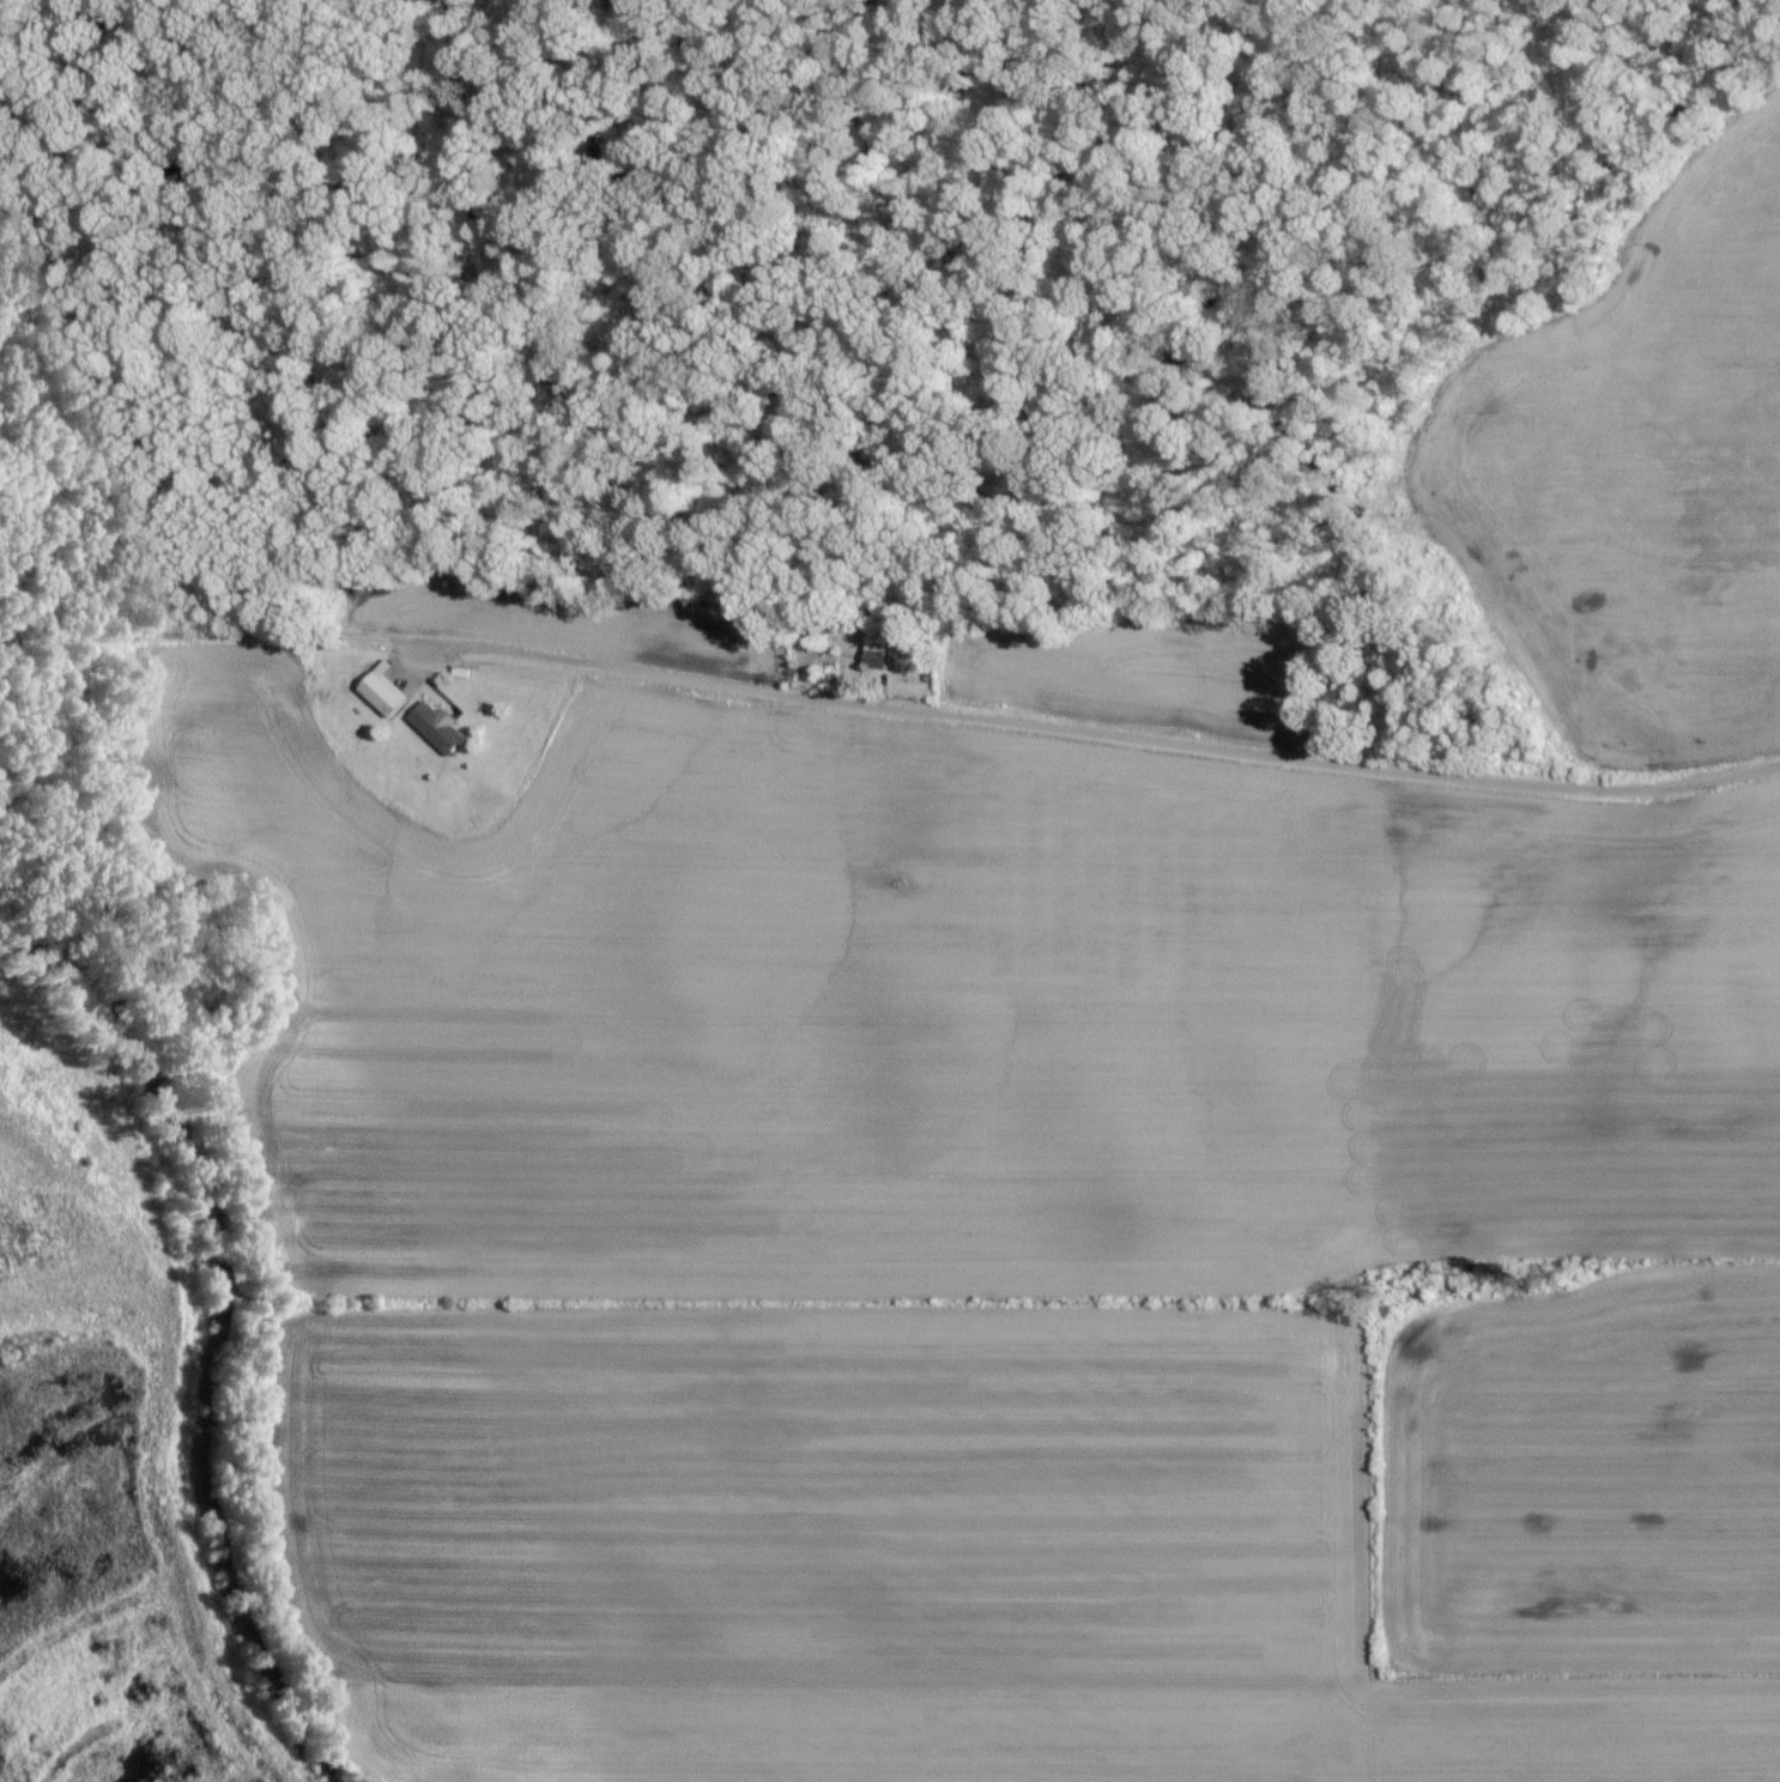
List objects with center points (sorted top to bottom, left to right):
building: (877, 651)
building: (386, 686)
building: (440, 726)
road: (1101, 733)

